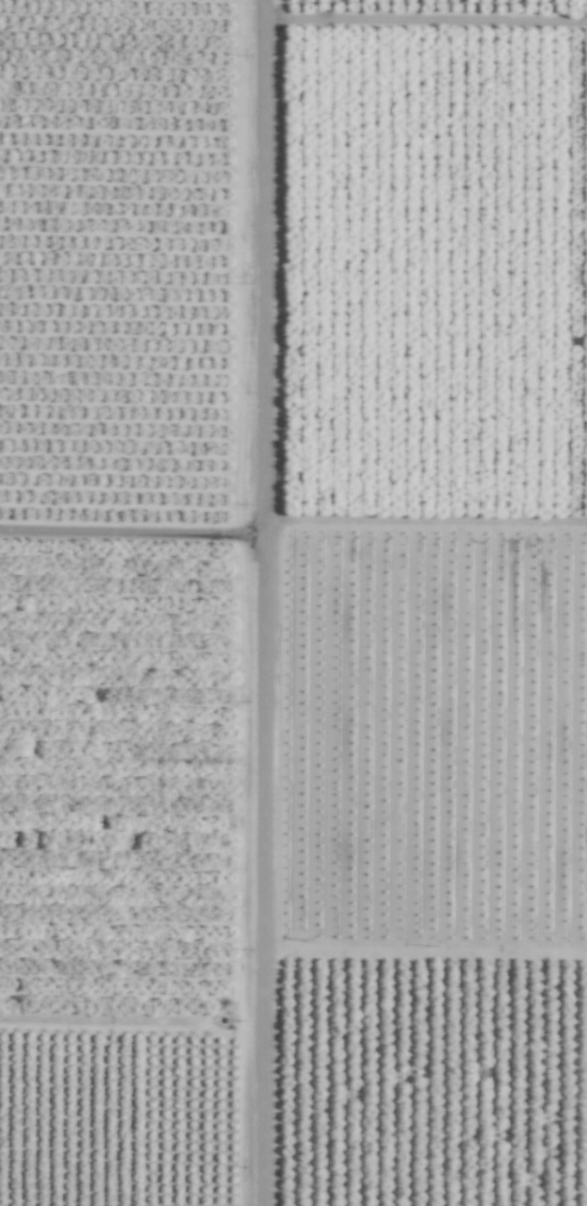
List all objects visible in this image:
road: (136, 533)
road: (271, 602)

